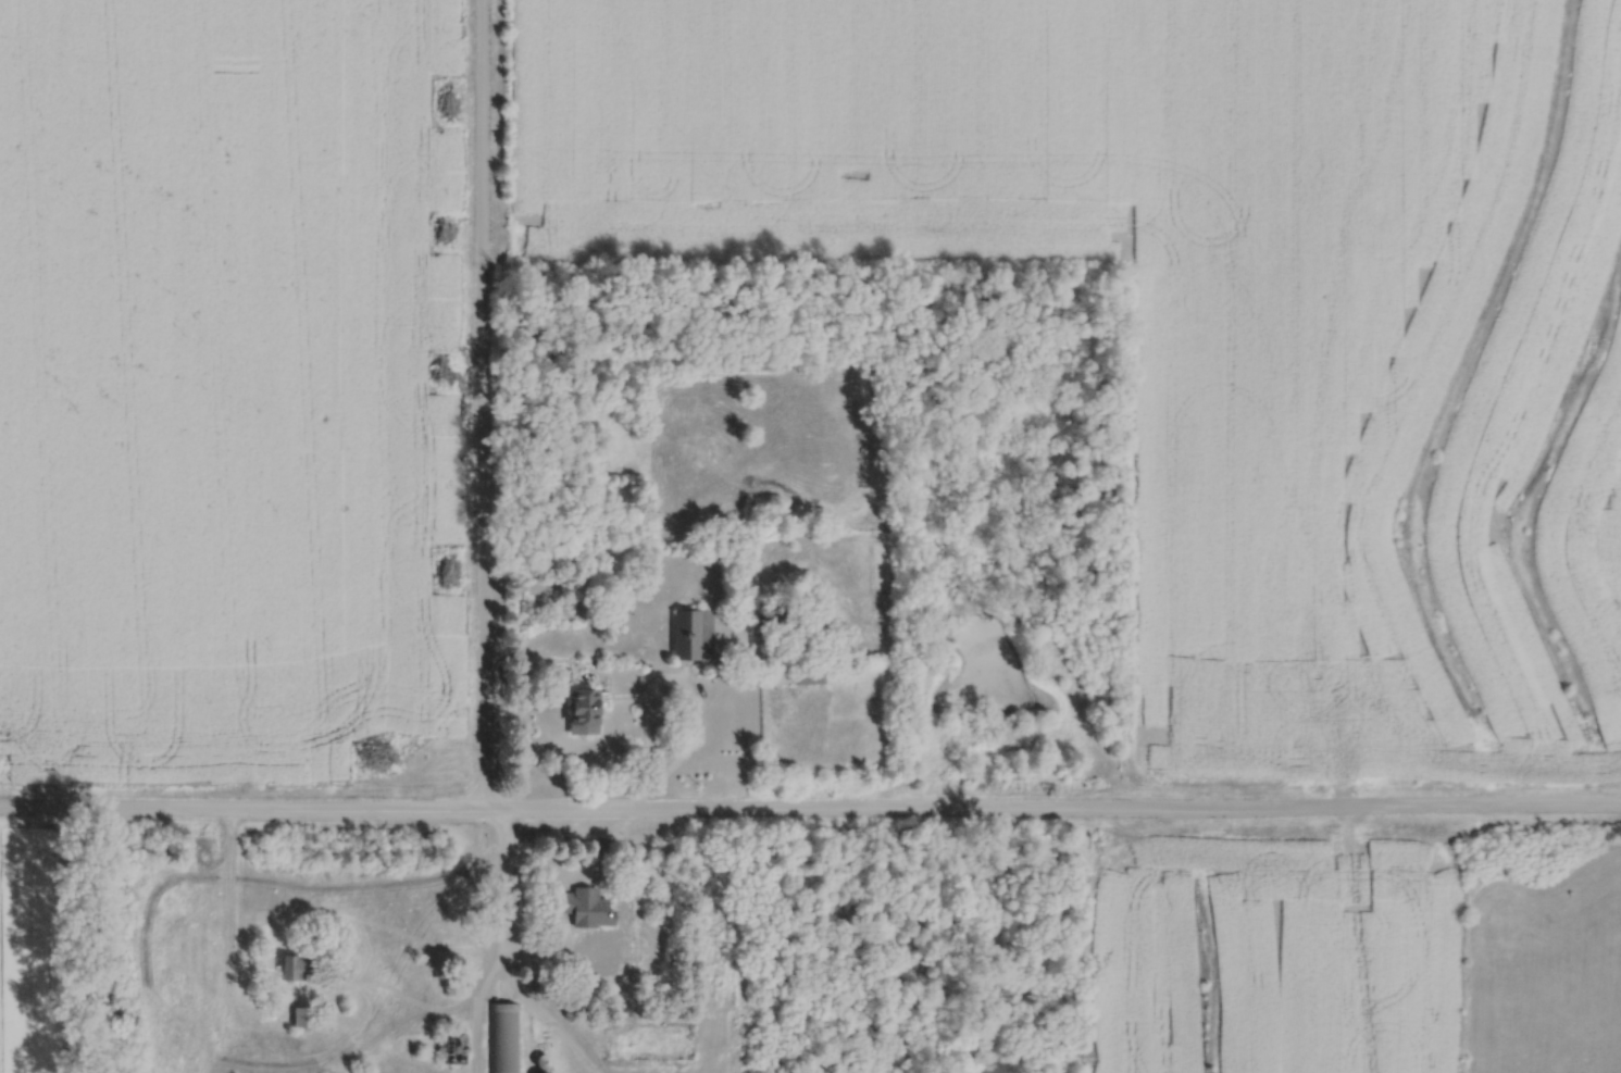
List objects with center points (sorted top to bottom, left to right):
road: (482, 407)
building: (695, 635)
building: (761, 644)
building: (812, 679)
road: (656, 706)
building: (586, 712)
road: (648, 803)
road: (810, 816)
road: (501, 884)
building: (170, 900)
building: (587, 907)
road: (225, 956)
building: (298, 965)
building: (174, 989)
building: (303, 1015)
building: (507, 1037)
building: (456, 1046)
building: (548, 1072)

